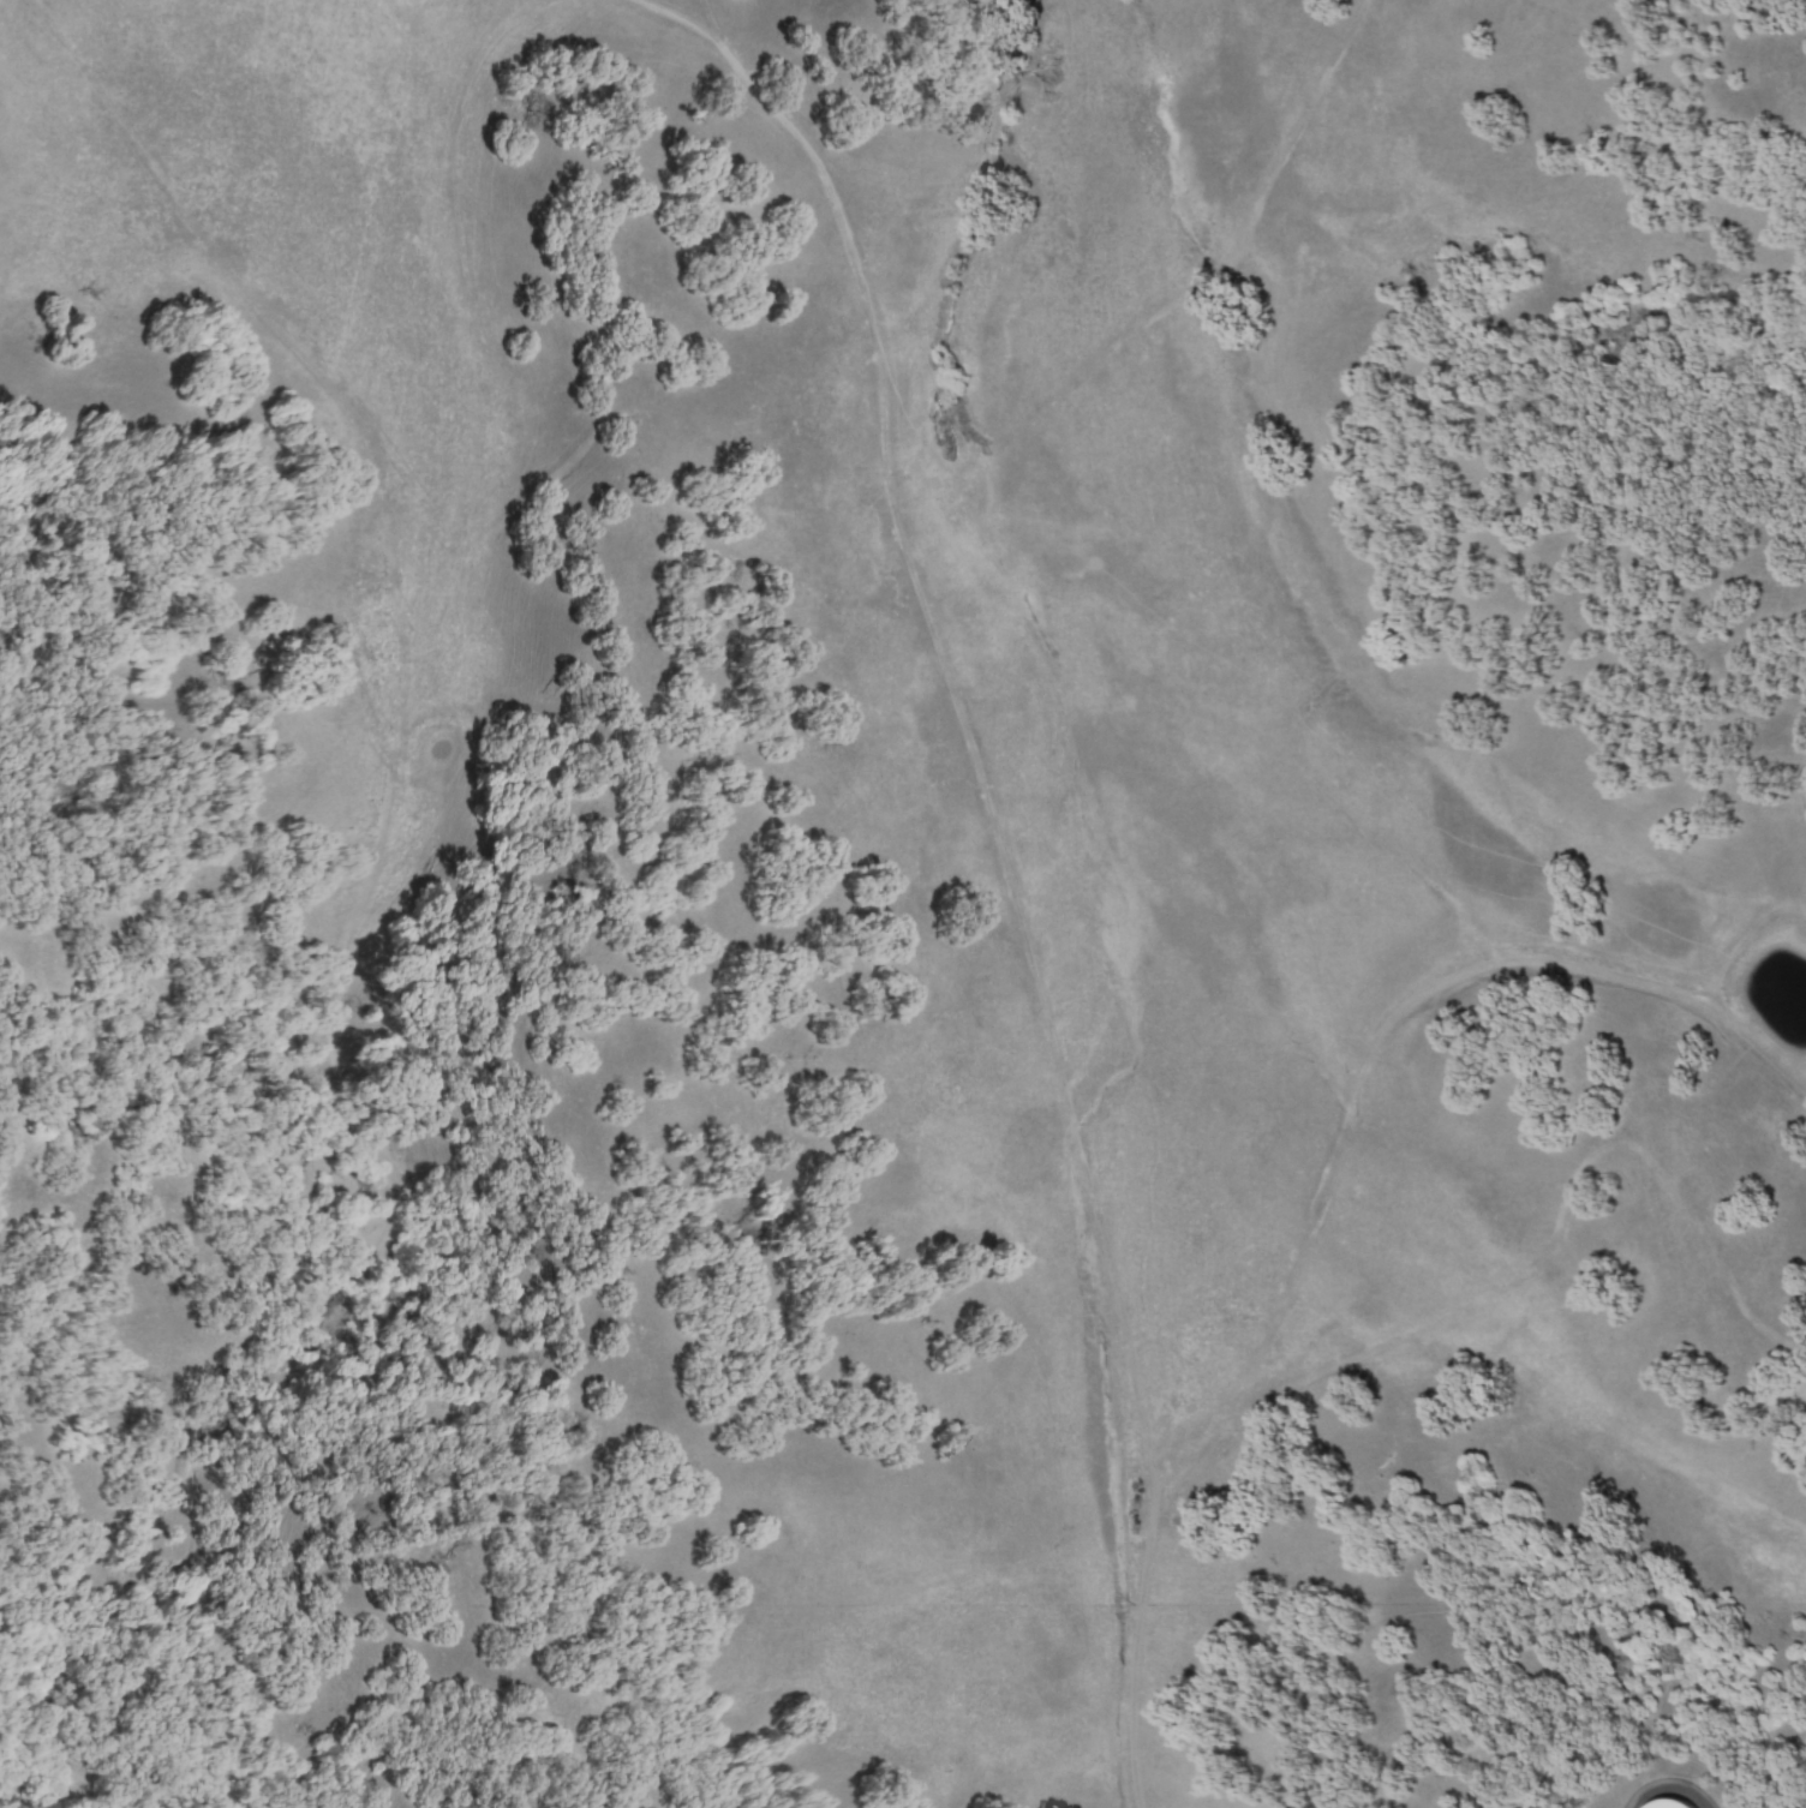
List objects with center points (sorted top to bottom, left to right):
road: (1673, 1788)
building: (1669, 1804)

